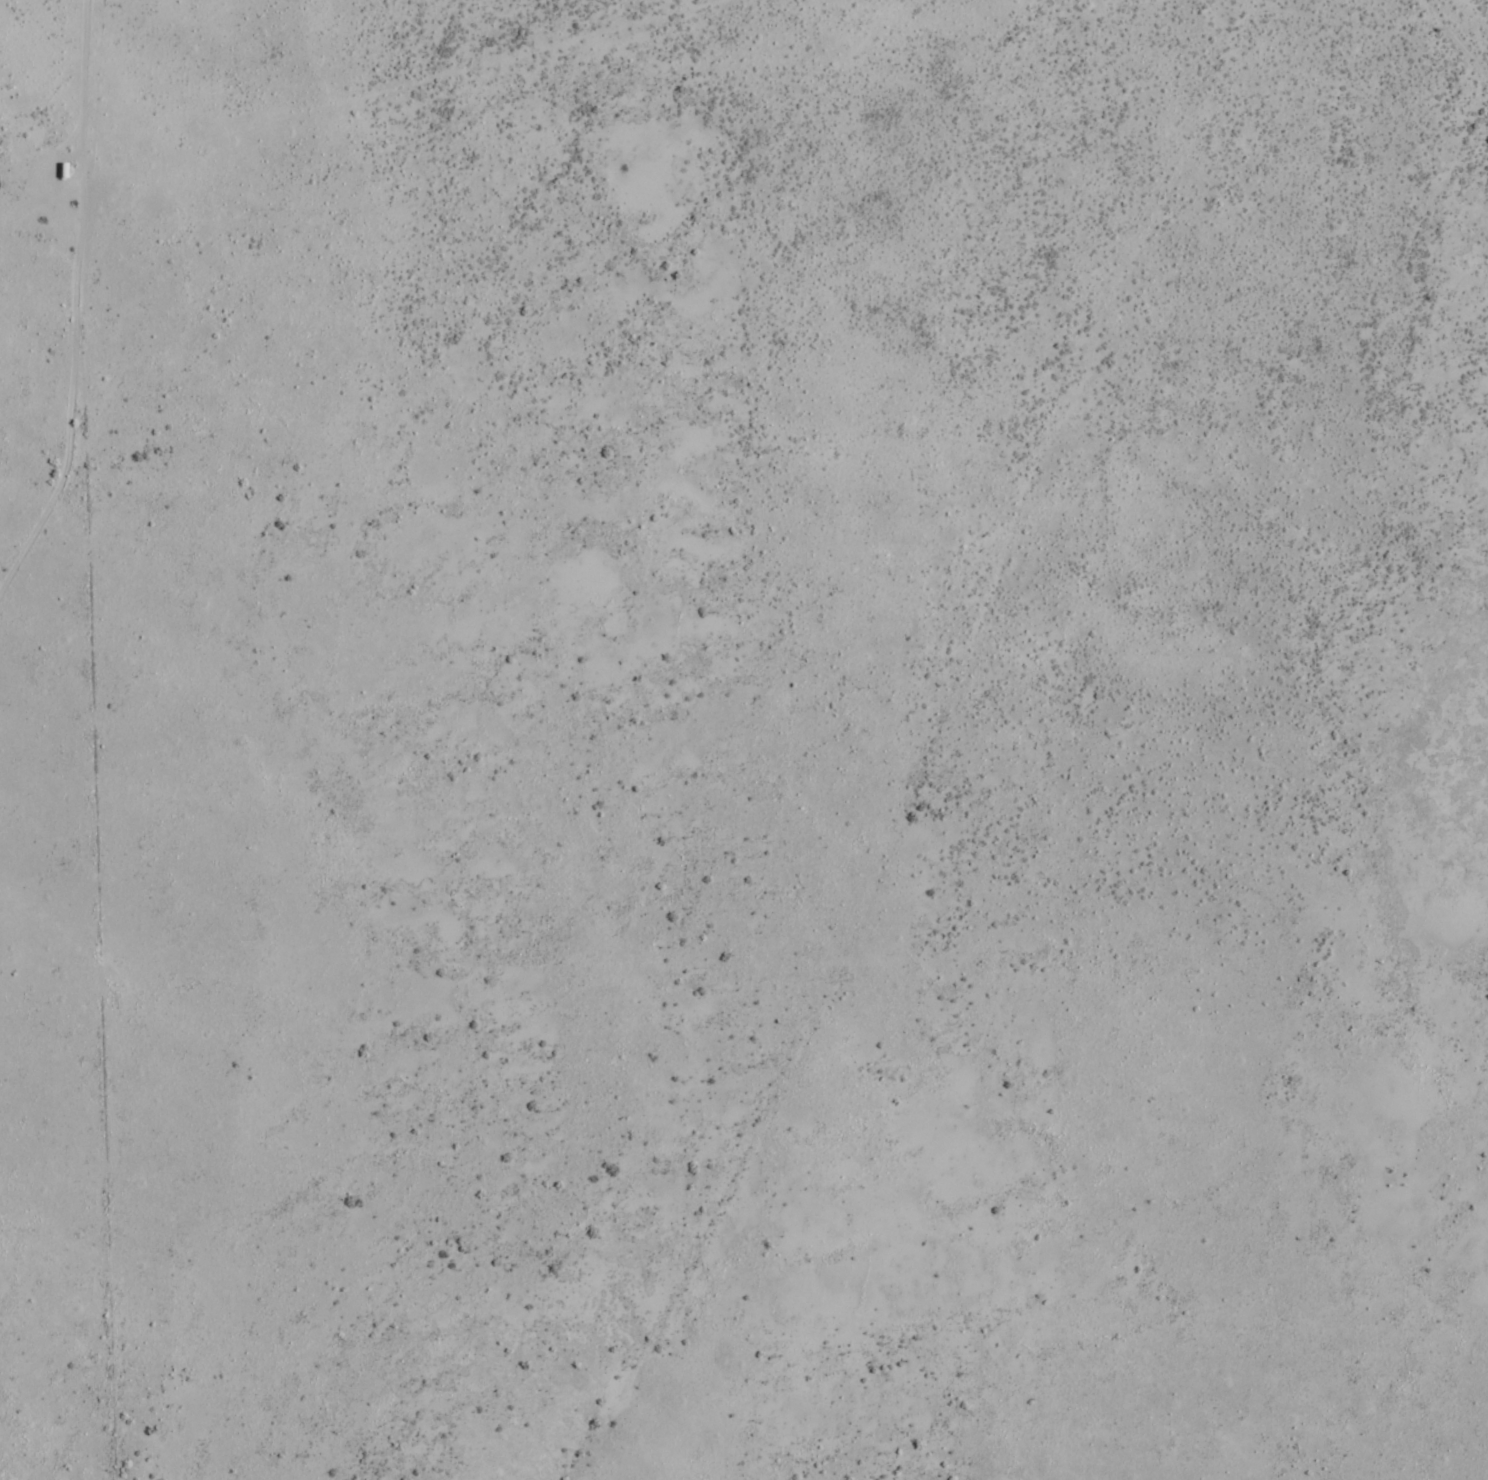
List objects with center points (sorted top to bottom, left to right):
road: (1444, 73)
road: (116, 302)
road: (924, 749)

